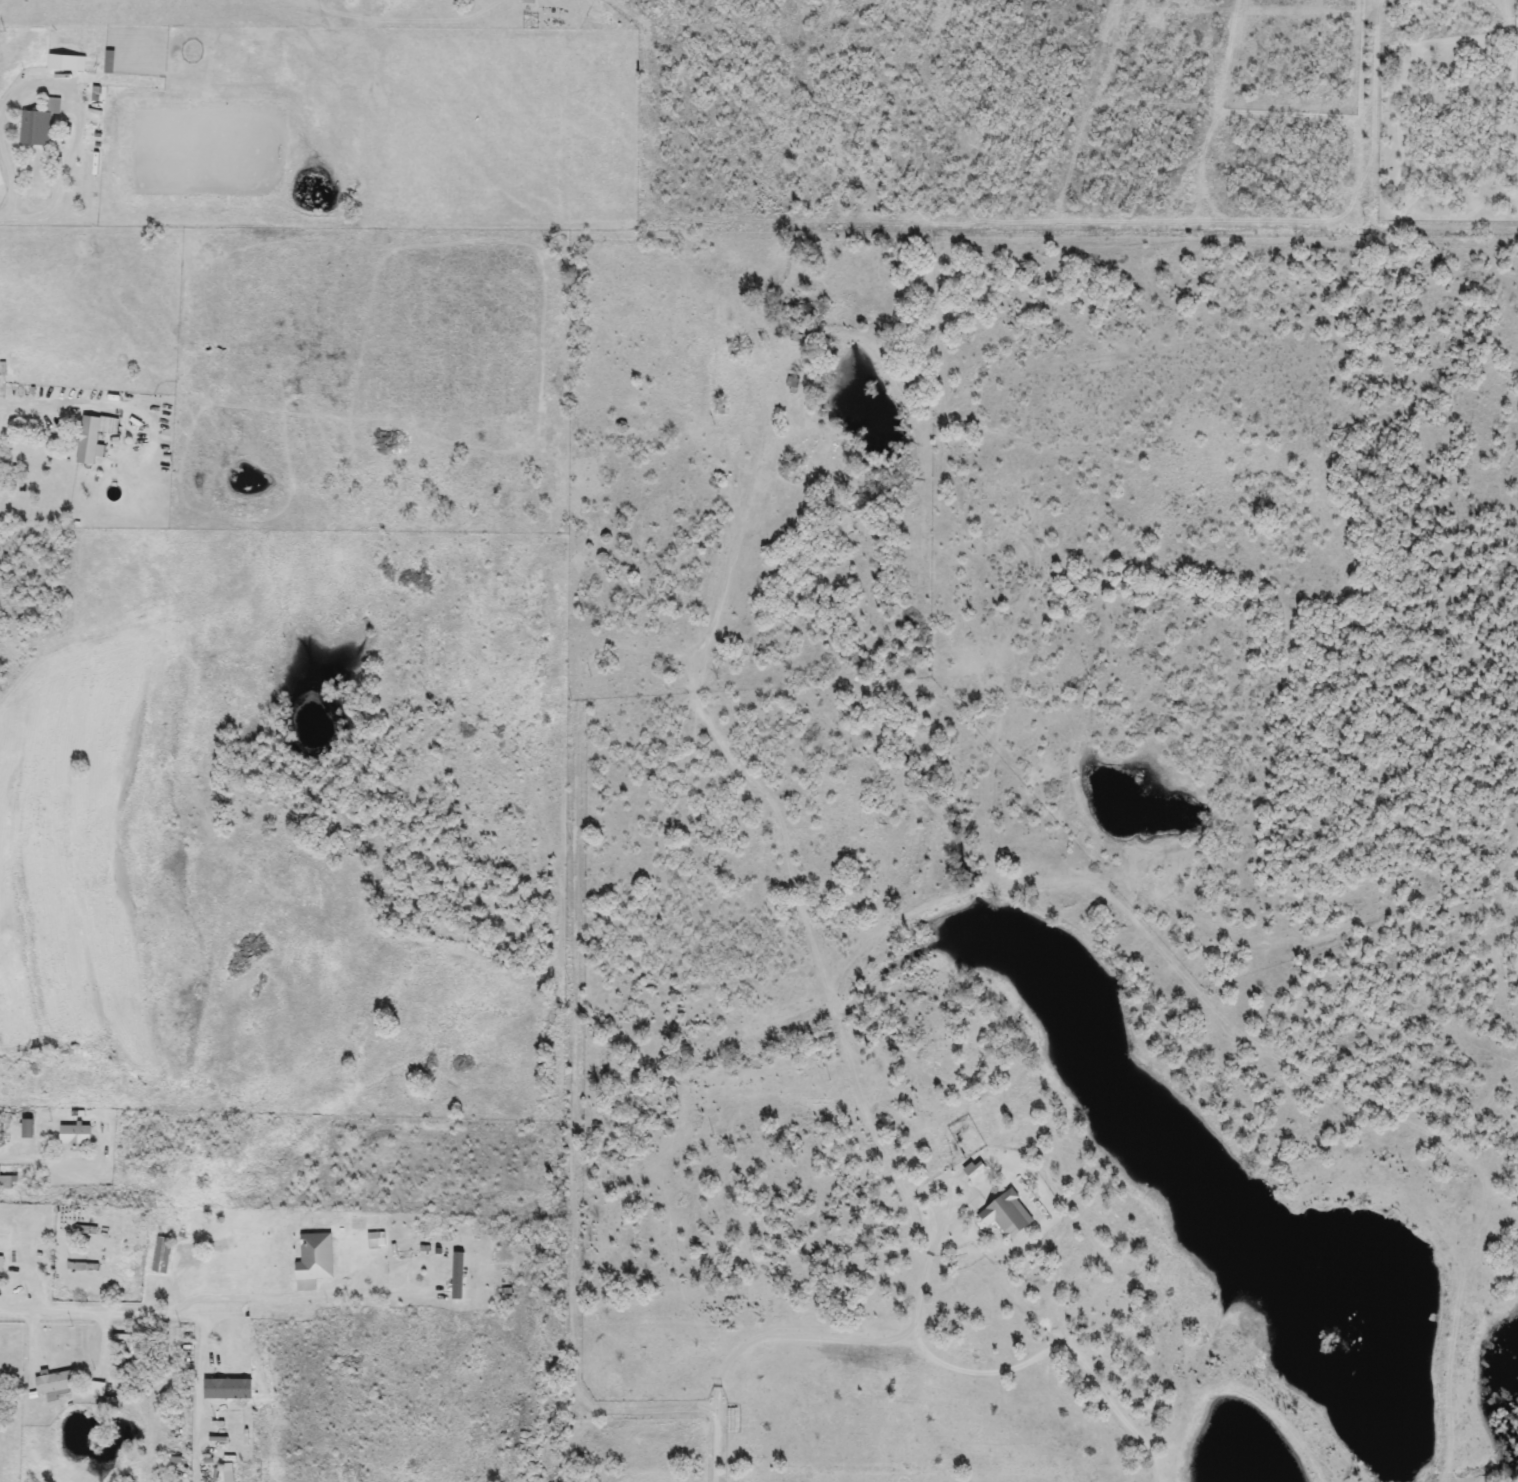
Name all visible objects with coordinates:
building: (61, 62)
road: (66, 84)
building: (37, 124)
road: (4, 216)
road: (32, 403)
building: (93, 436)
road: (82, 976)
building: (74, 1135)
road: (39, 1160)
building: (8, 1182)
building: (1006, 1214)
building: (161, 1255)
building: (314, 1257)
building: (457, 1273)
road: (208, 1298)
road: (819, 1336)
road: (1059, 1349)
building: (53, 1385)
building: (226, 1389)
building: (101, 1397)

